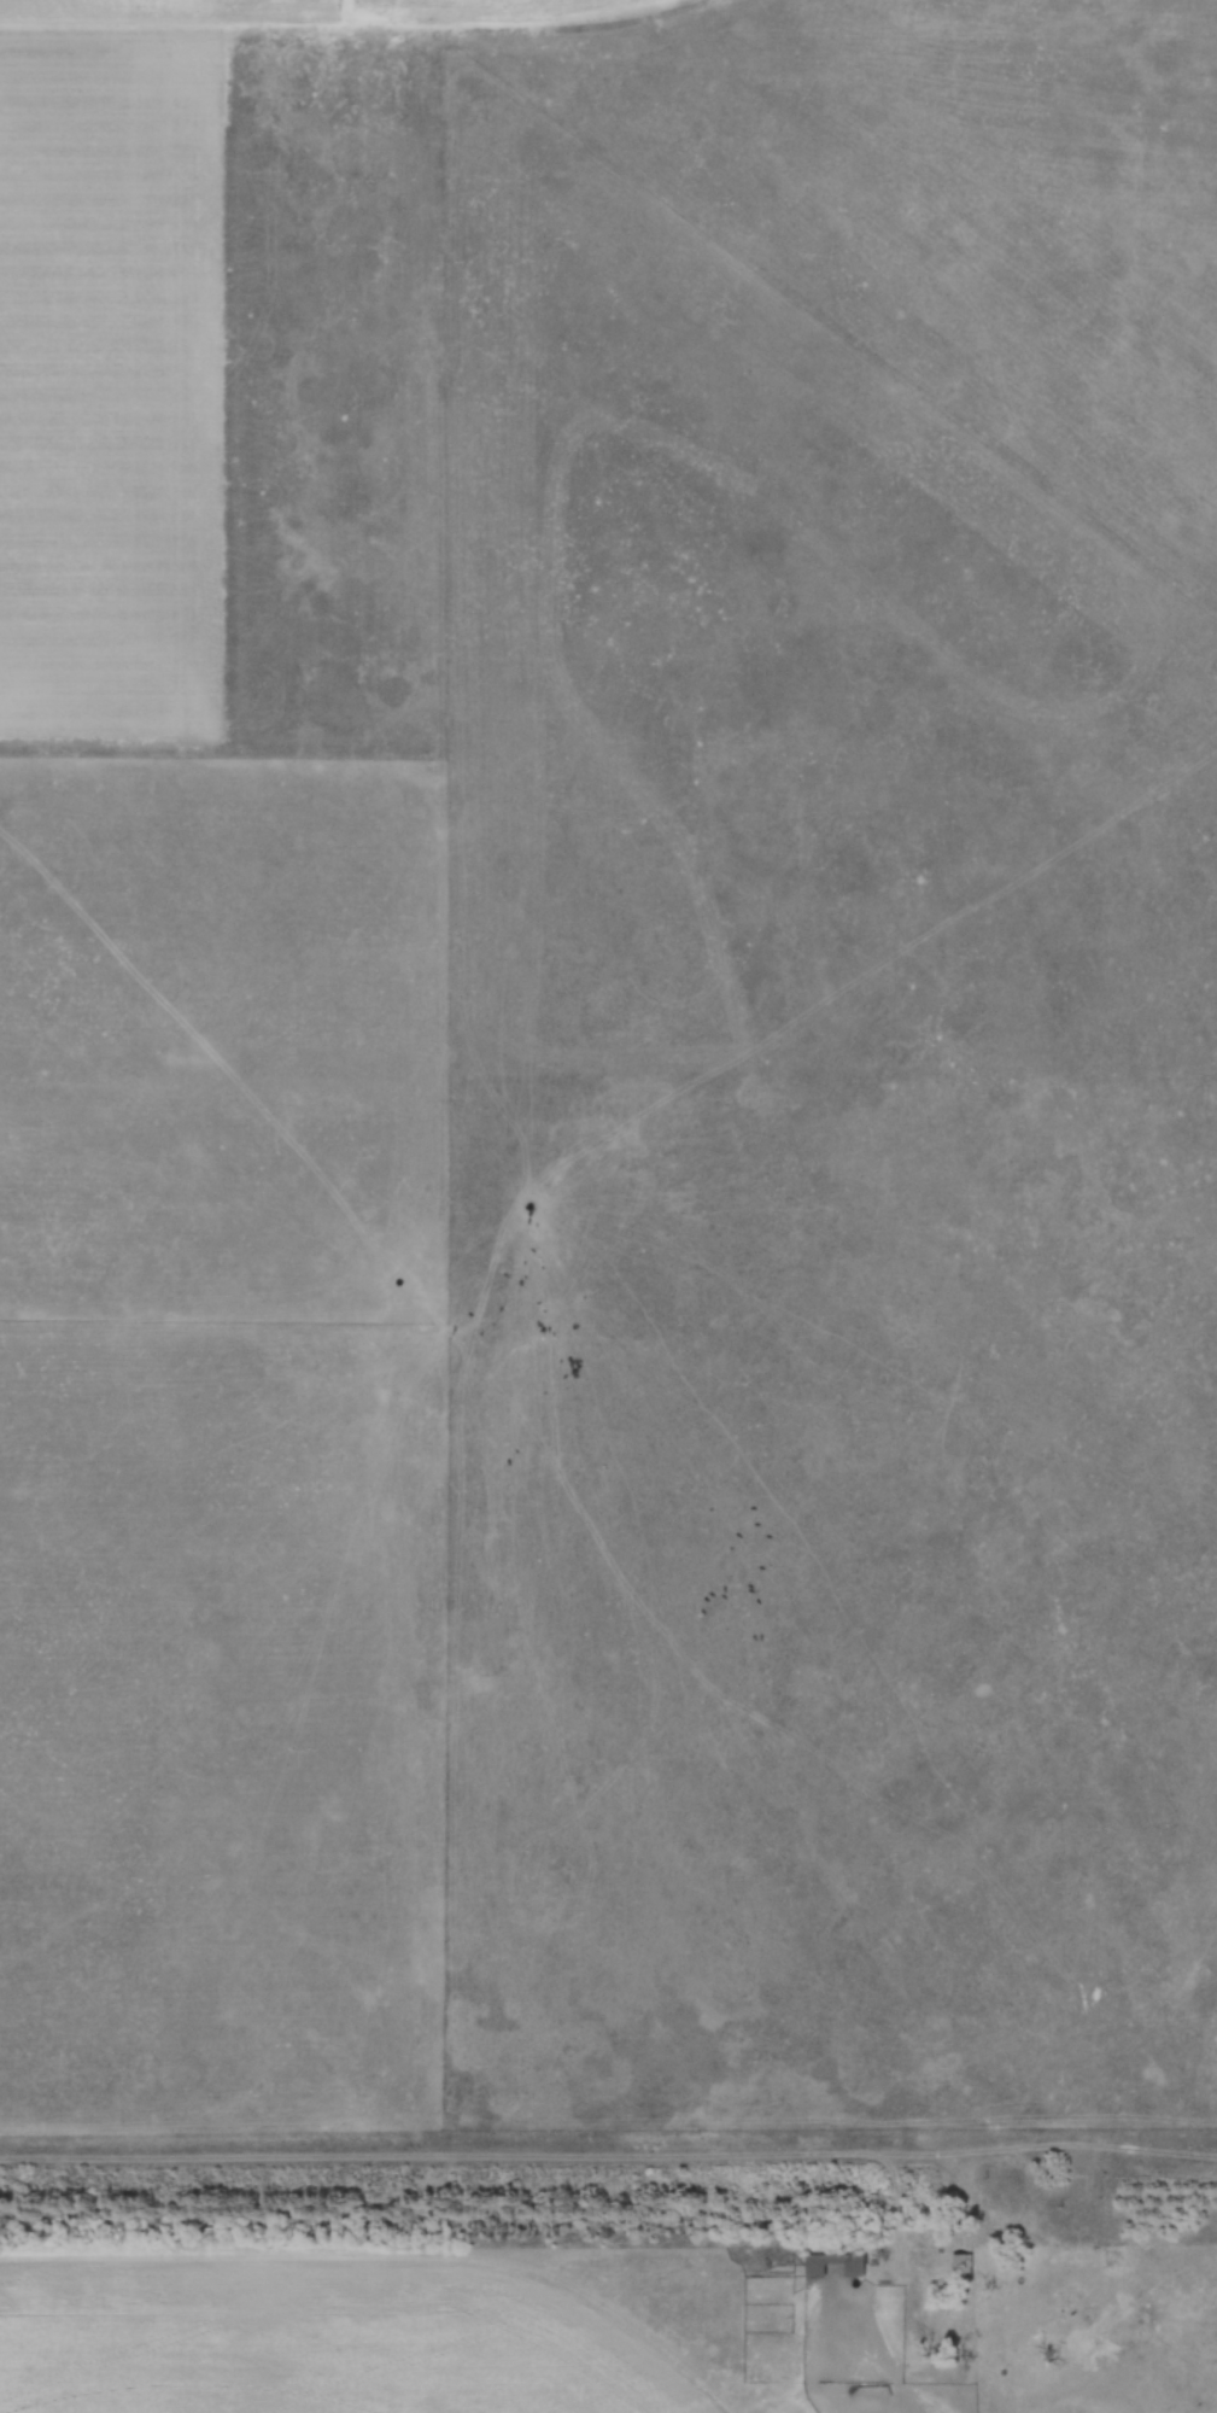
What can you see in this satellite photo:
building: (829, 2266)
building: (959, 2266)

